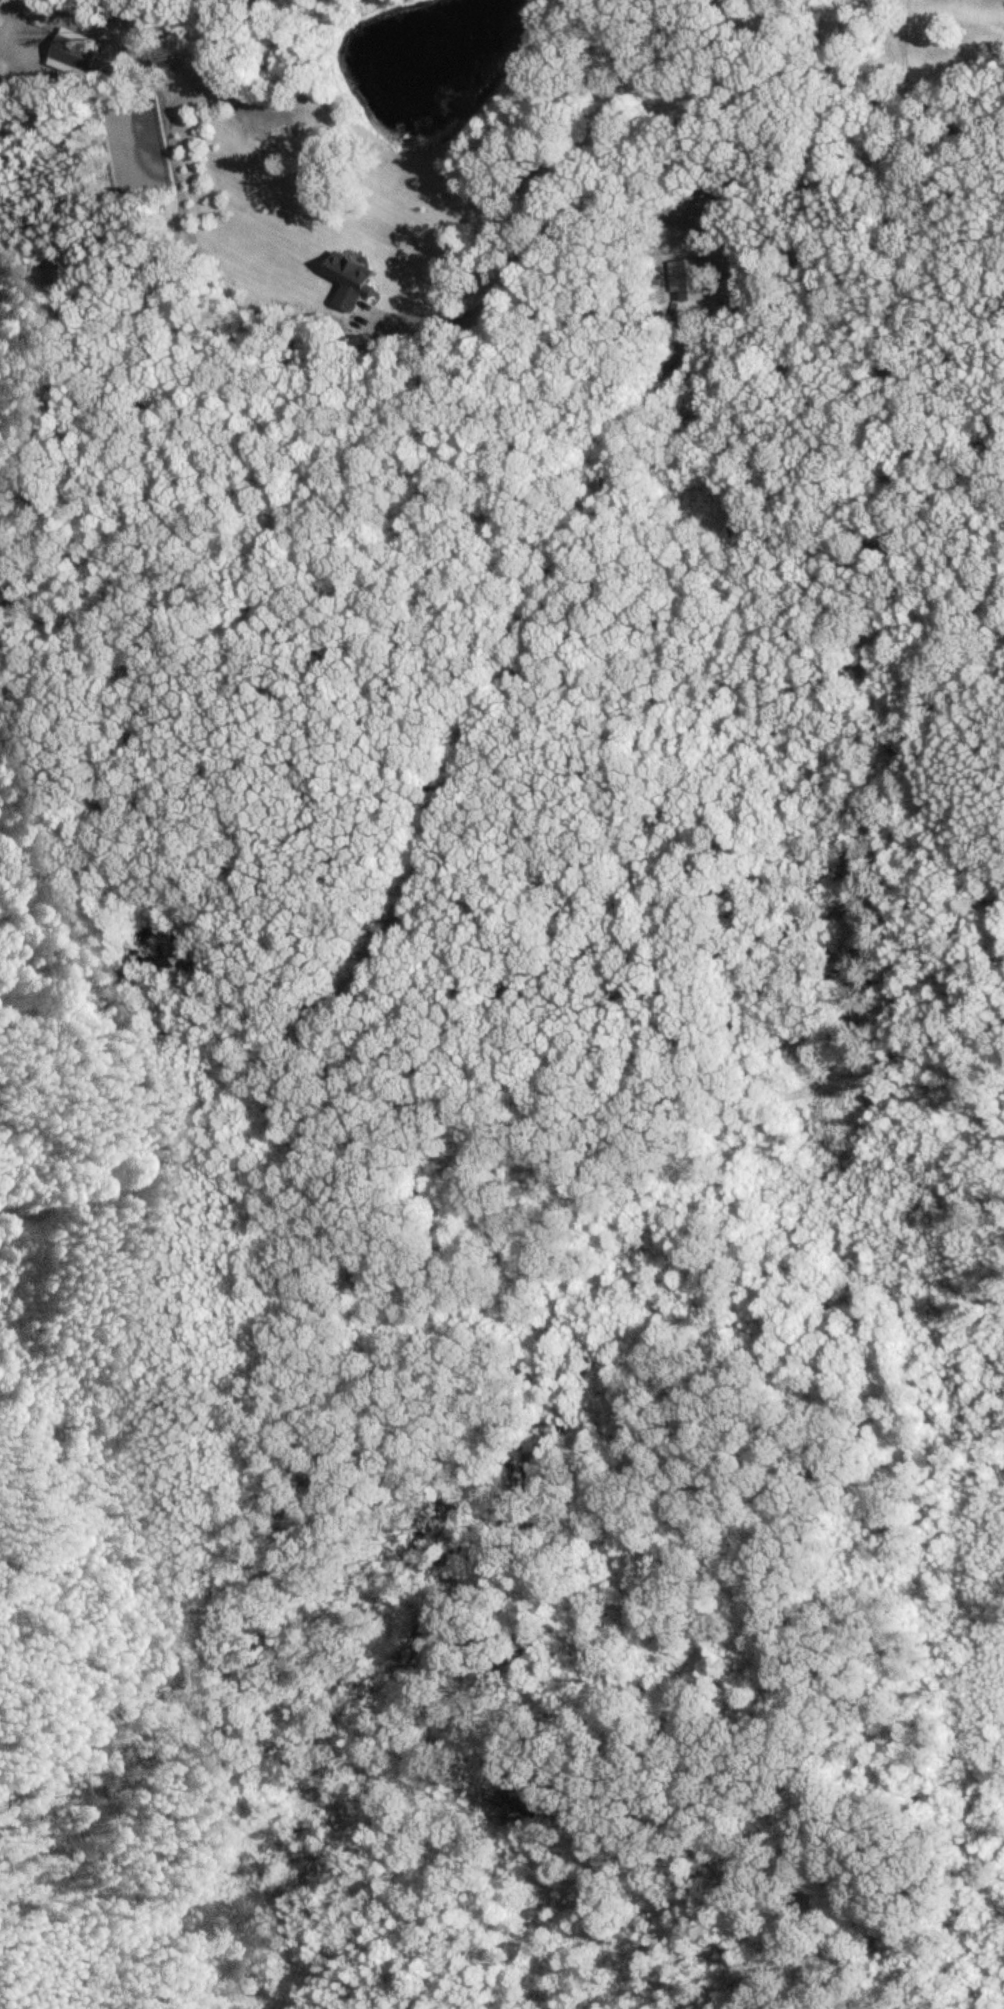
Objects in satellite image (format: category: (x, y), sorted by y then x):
road: (21, 43)
building: (79, 51)
building: (258, 123)
road: (676, 204)
road: (194, 250)
road: (102, 266)
building: (358, 277)
road: (451, 795)
road: (15, 1213)

